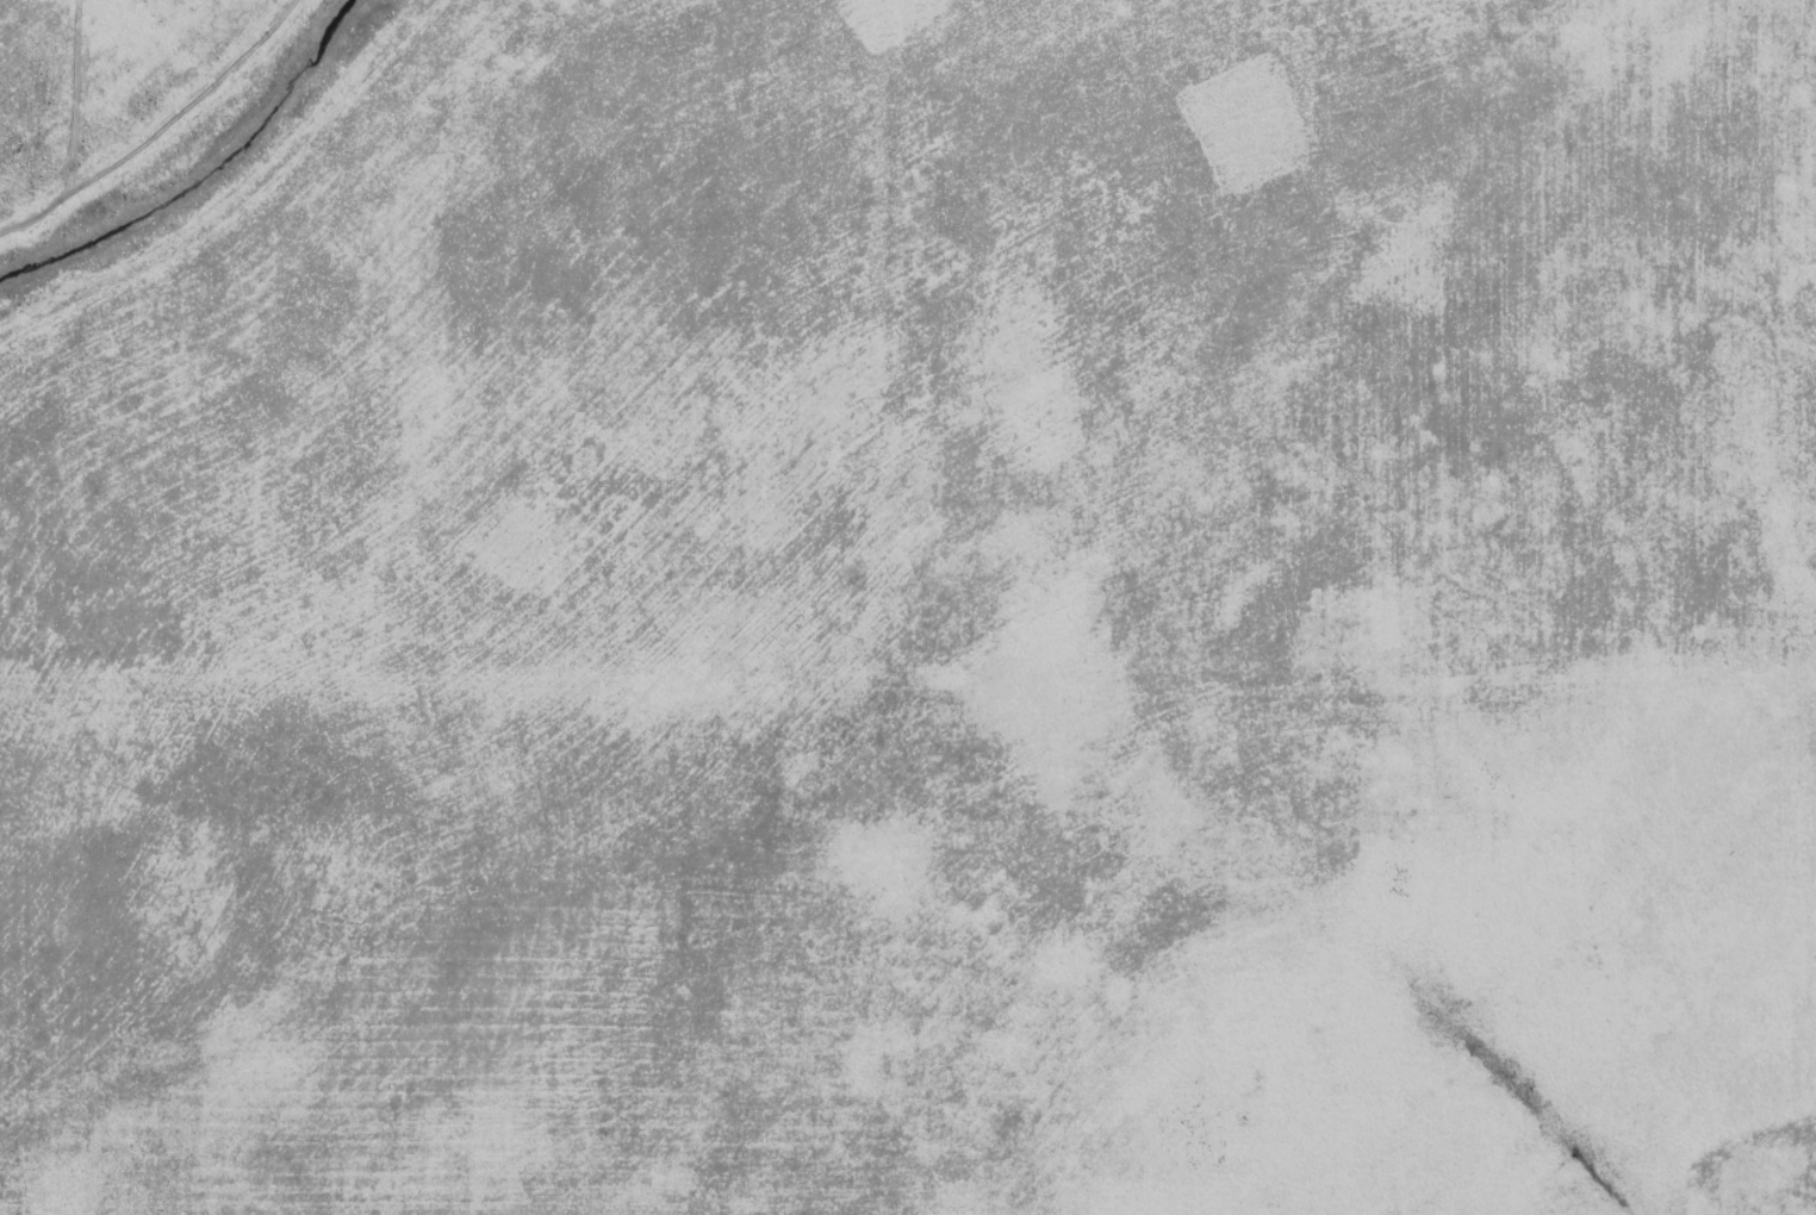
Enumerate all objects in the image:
river: (209, 179)

